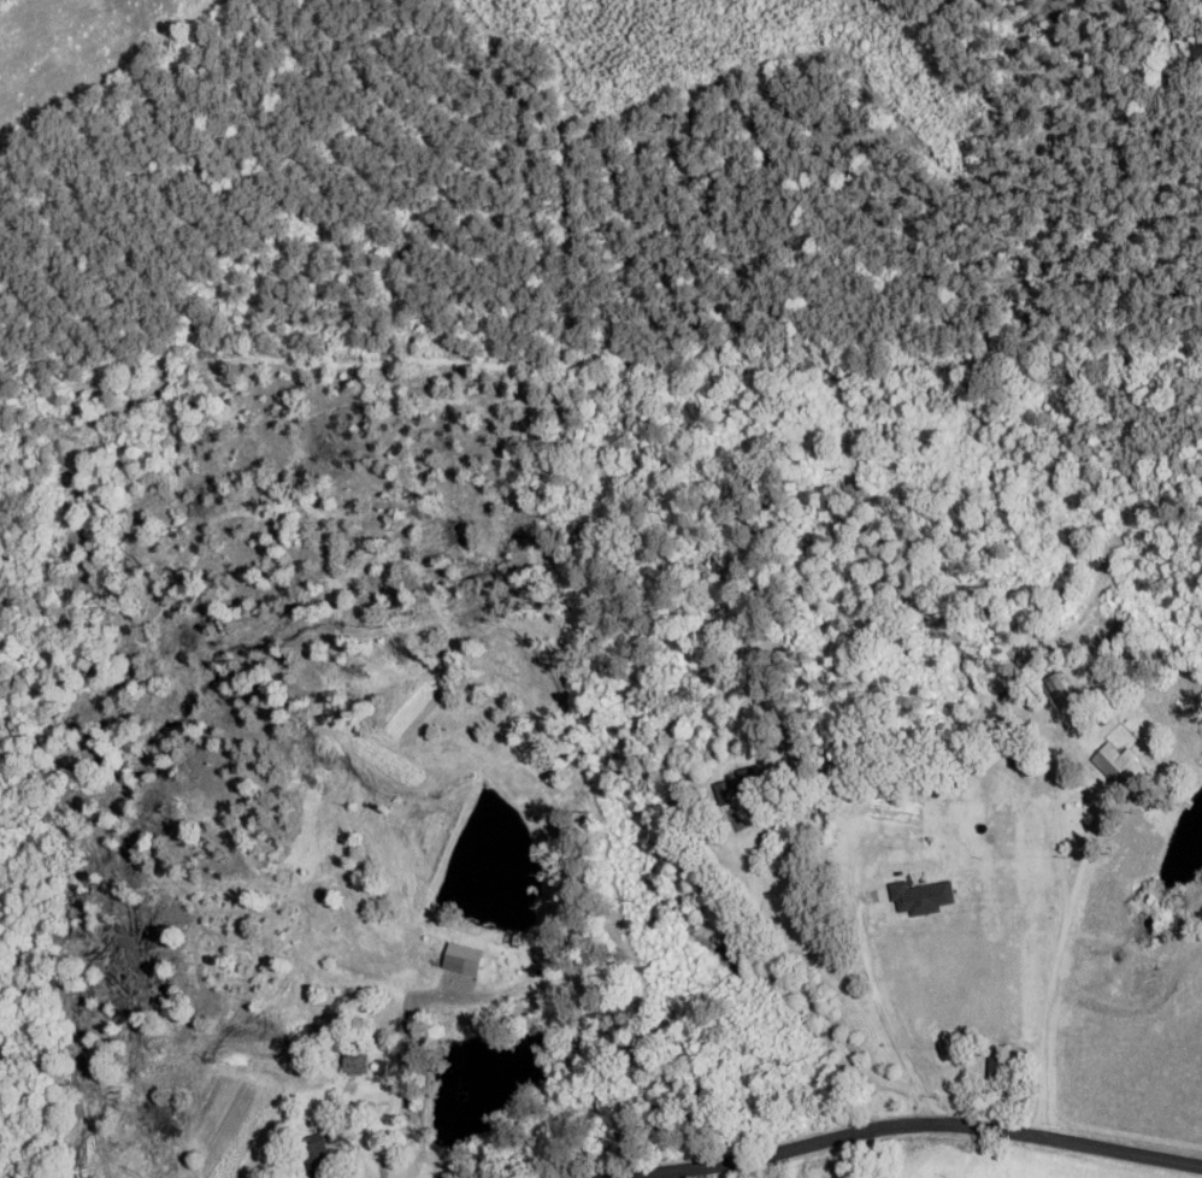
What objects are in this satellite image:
building: (1115, 766)
building: (750, 779)
road: (1049, 999)
building: (358, 1059)
road: (900, 1123)
building: (320, 1153)

